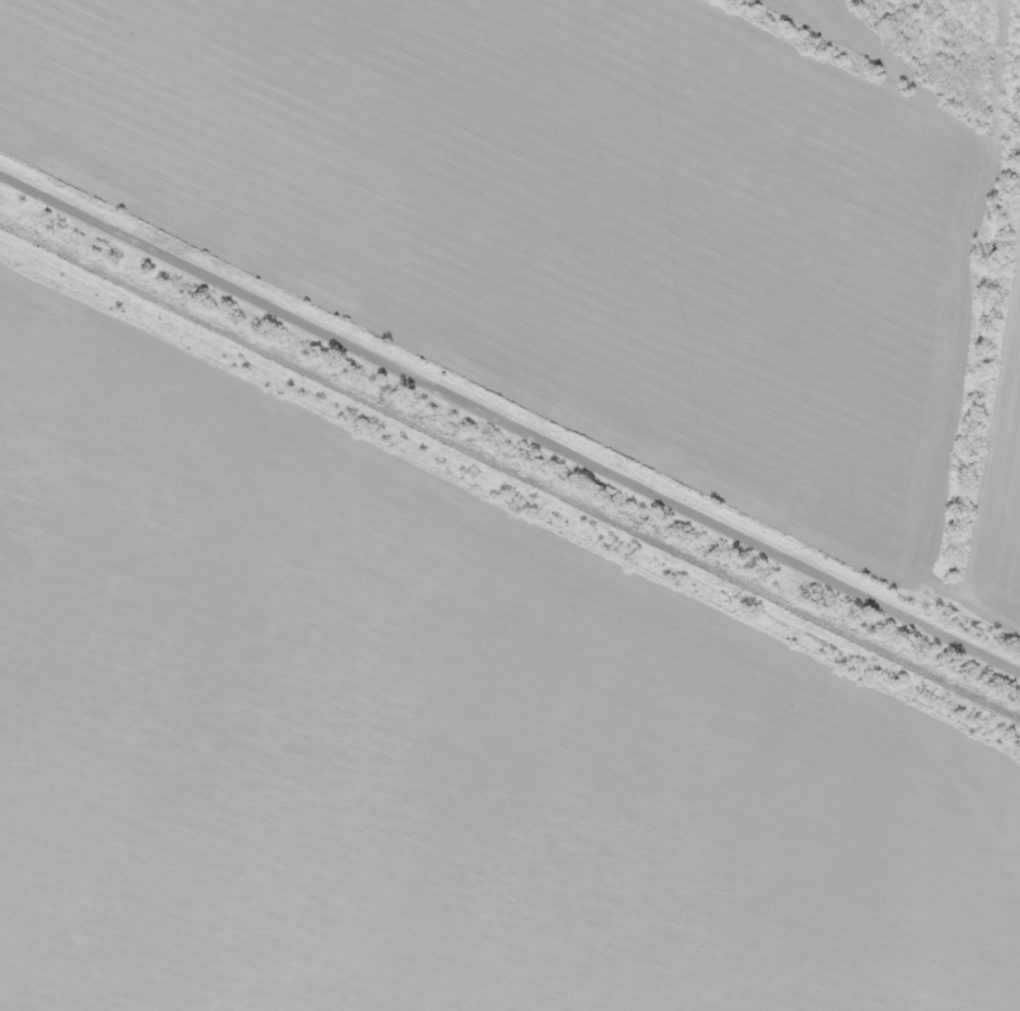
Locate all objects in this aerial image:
road: (510, 415)
railway: (510, 472)

